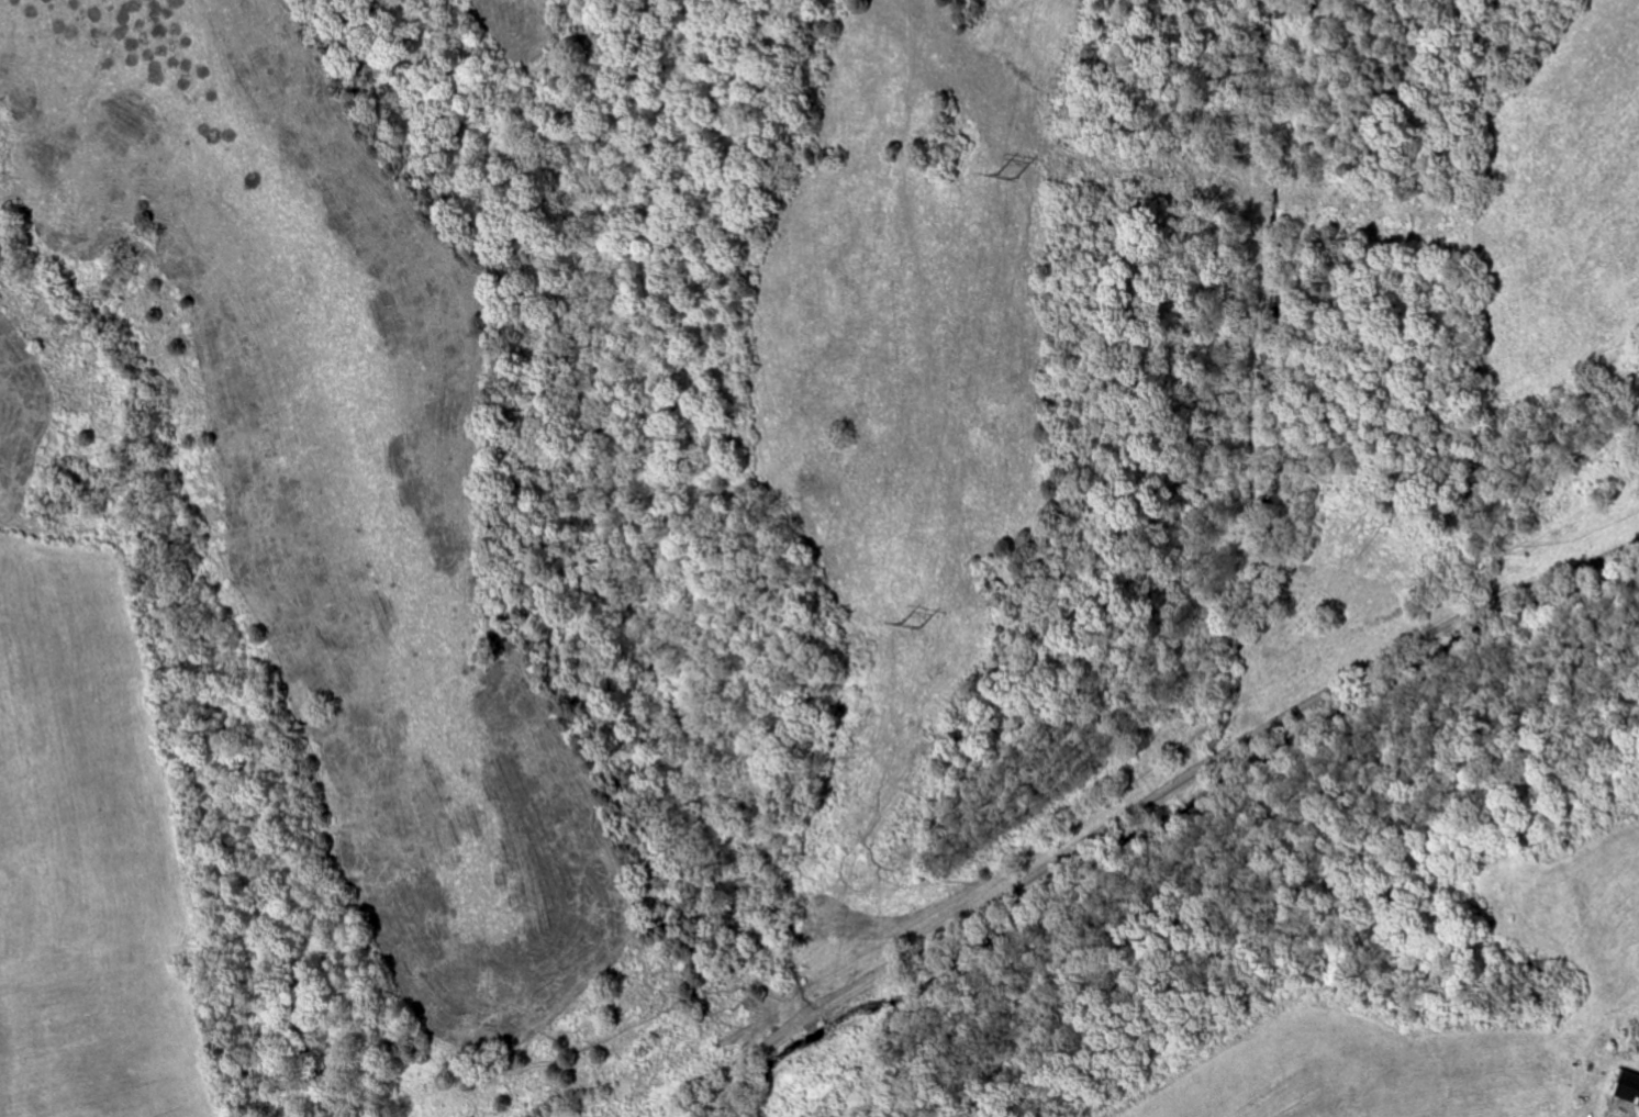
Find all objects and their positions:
power tower: (1007, 174)
power tower: (908, 626)
road: (1151, 805)
building: (1629, 1086)

